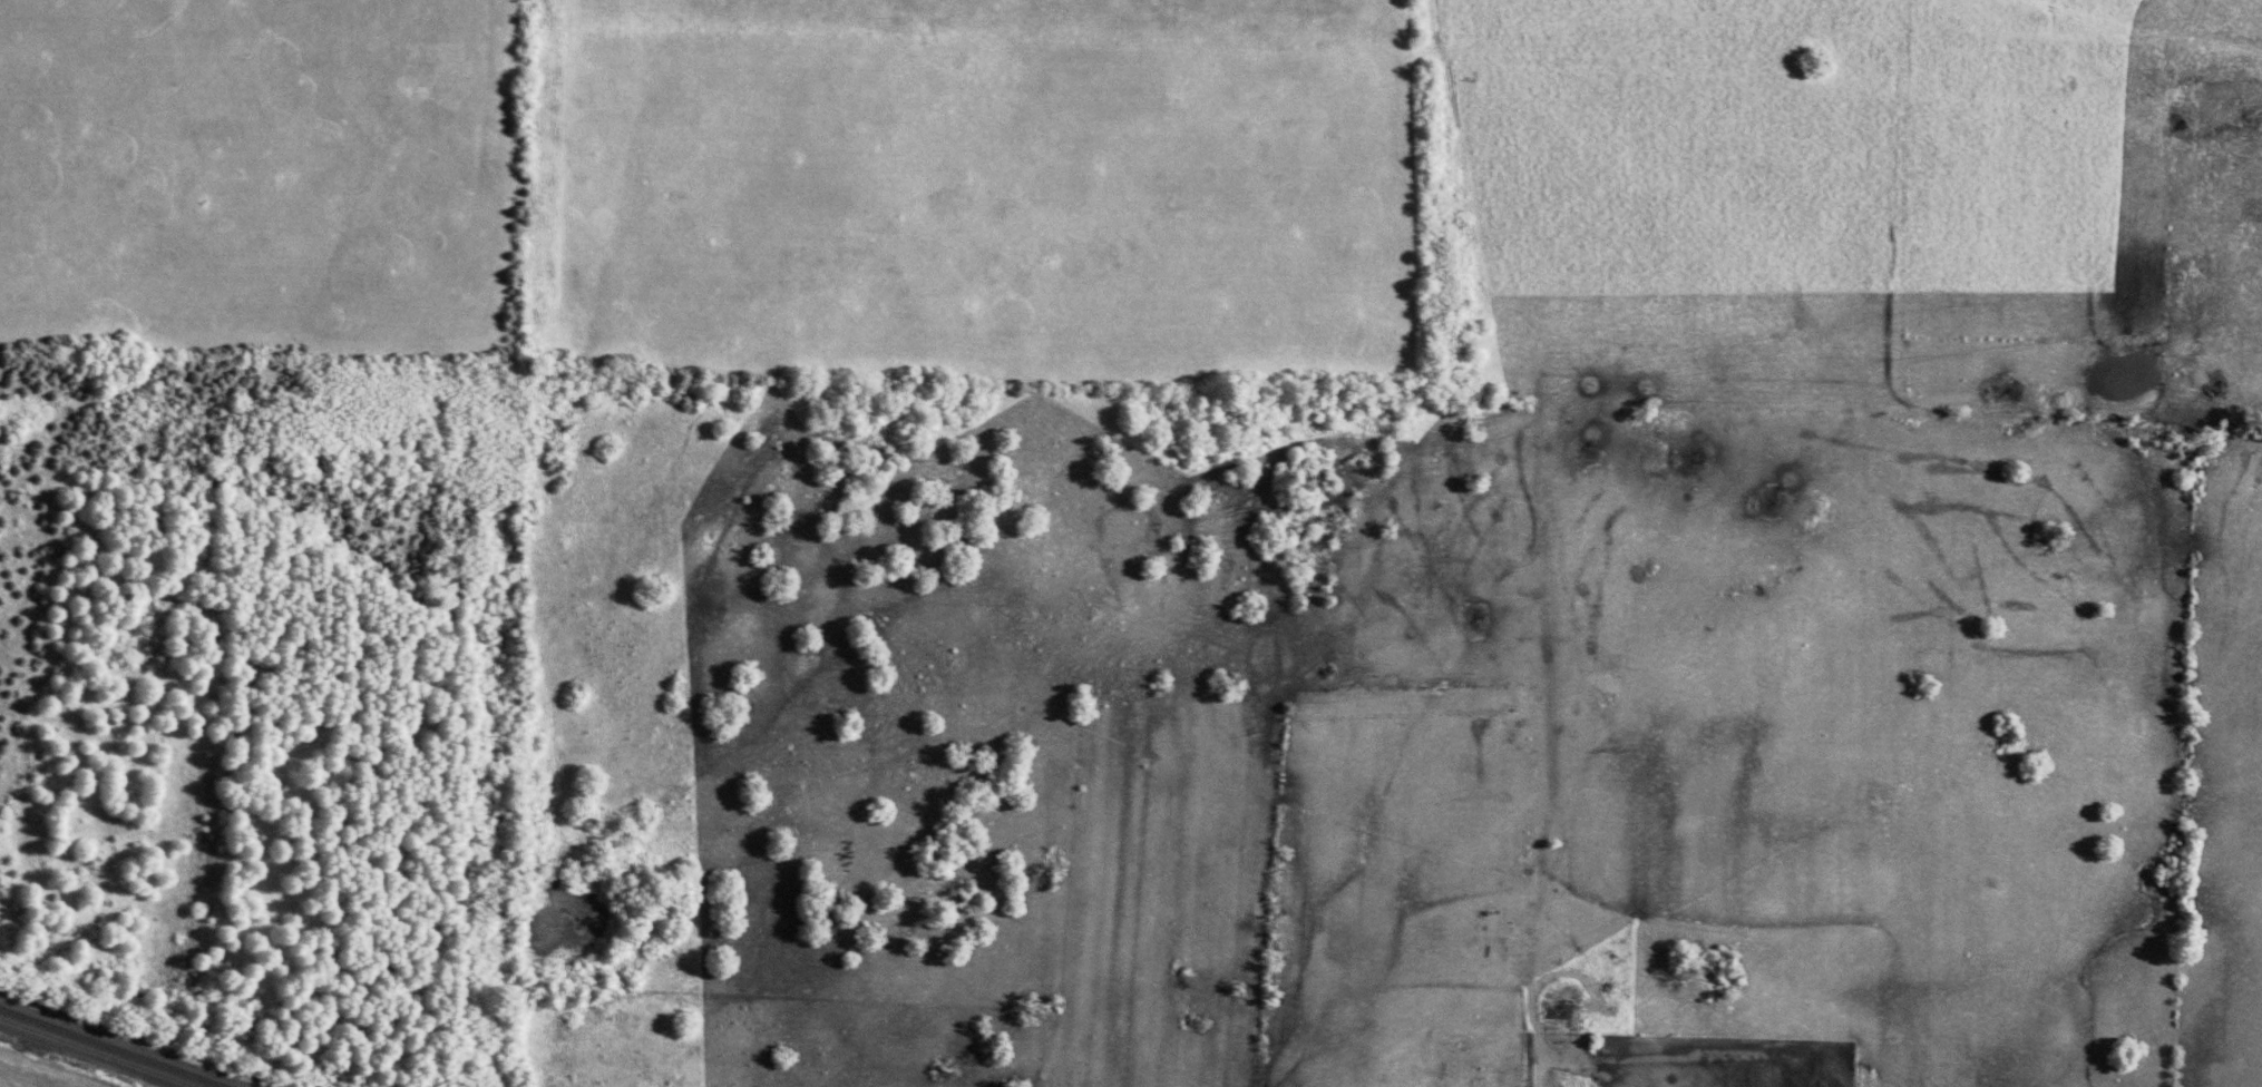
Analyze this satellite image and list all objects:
railway: (111, 1047)
railway: (95, 1054)

